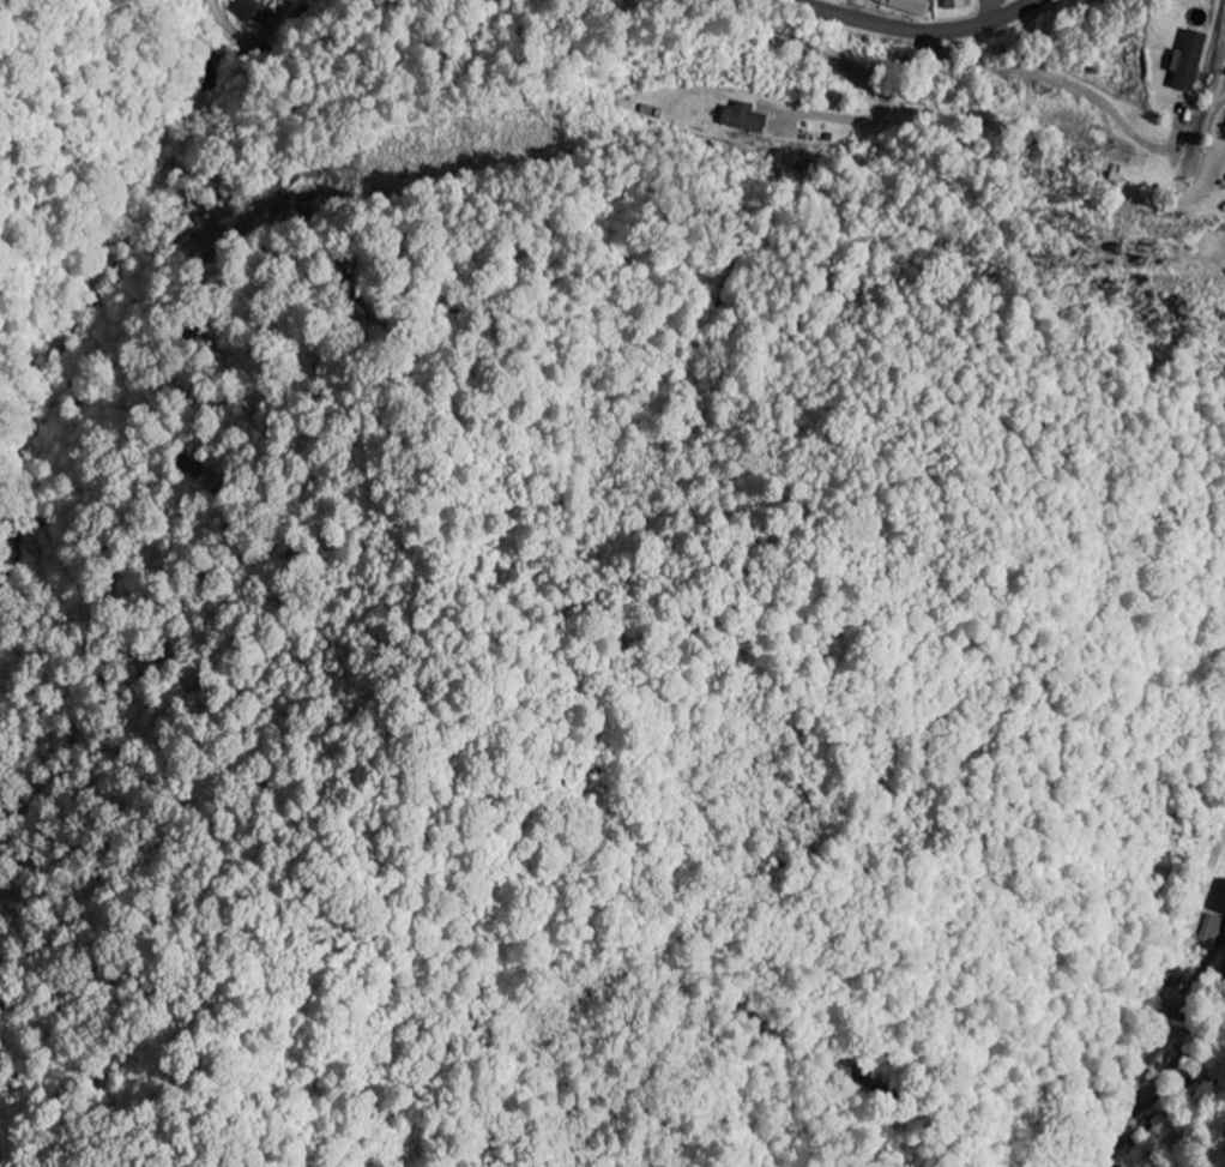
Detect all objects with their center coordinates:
road: (796, 2)
building: (957, 4)
road: (990, 4)
building: (910, 5)
building: (246, 8)
road: (985, 12)
road: (217, 22)
road: (267, 30)
road: (909, 34)
building: (1190, 60)
building: (747, 118)
building: (1224, 134)
power tower: (352, 178)
building: (1218, 896)
building: (1211, 928)
road: (1193, 1063)

